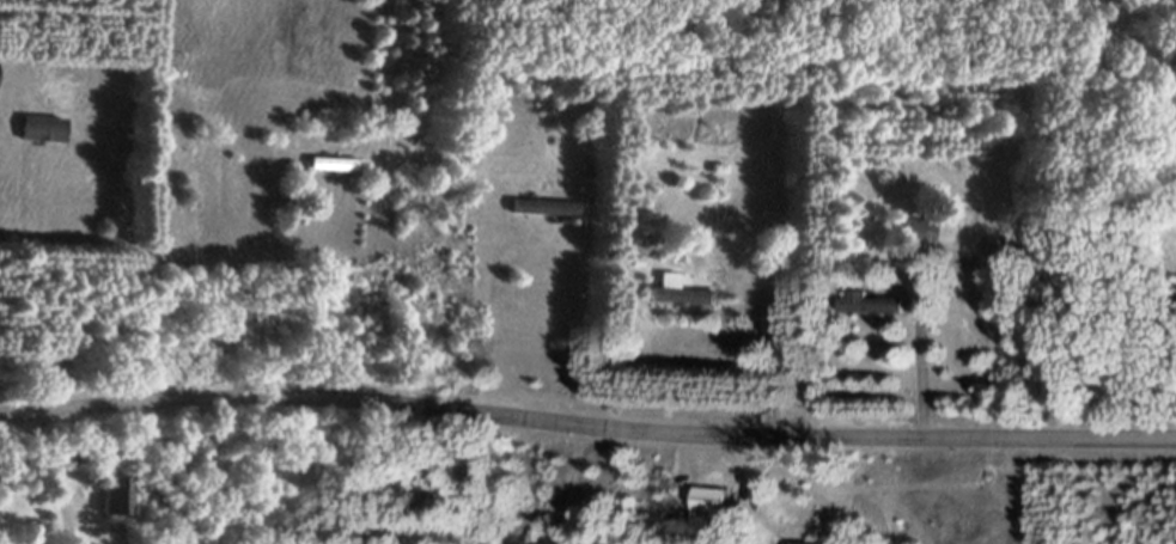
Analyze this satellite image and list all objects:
building: (45, 137)
building: (335, 172)
building: (544, 216)
building: (920, 240)
building: (682, 301)
building: (873, 311)
road: (586, 421)
building: (74, 463)
building: (117, 505)
building: (712, 507)

